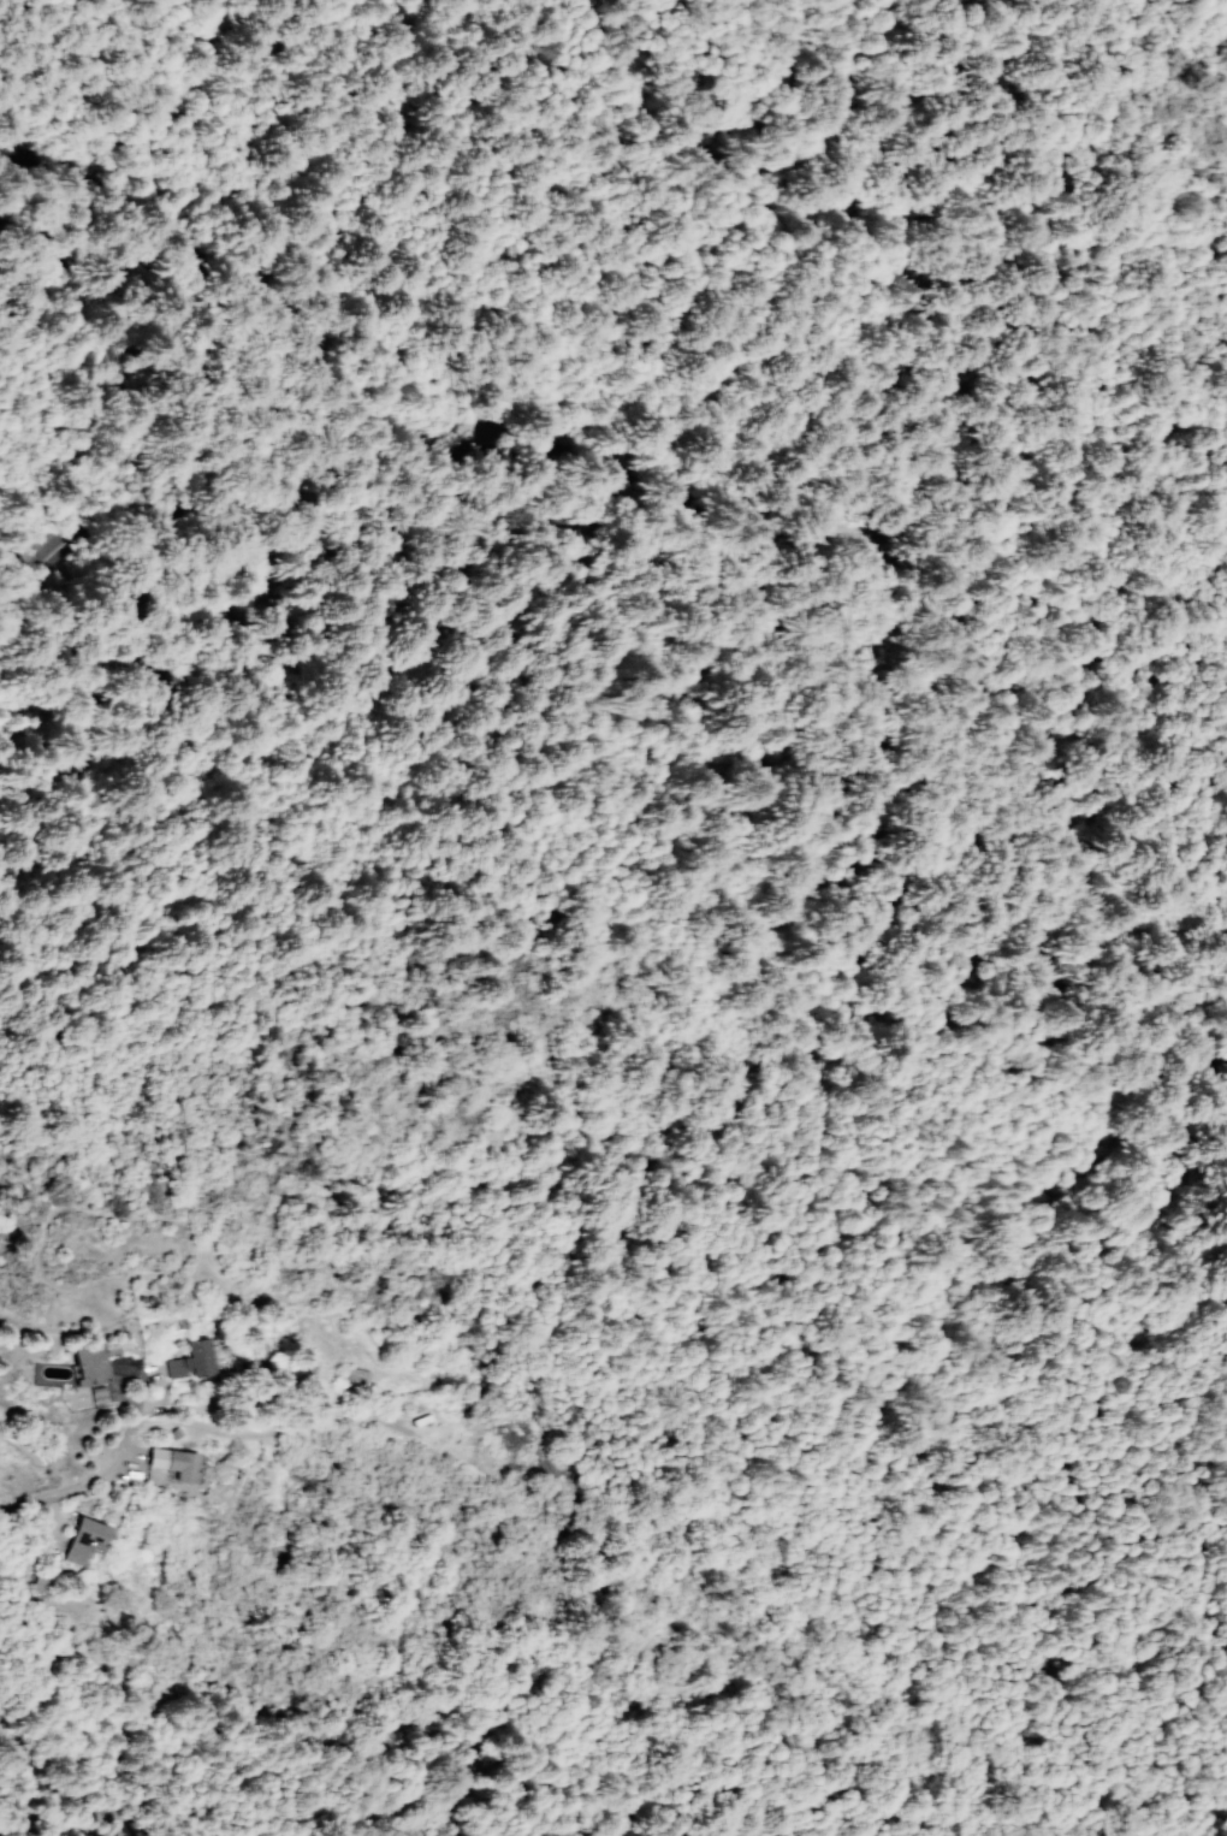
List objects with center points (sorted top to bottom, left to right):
road: (5, 186)
road: (136, 428)
road: (716, 502)
building: (189, 1361)
building: (88, 1363)
road: (119, 1372)
road: (150, 1372)
road: (148, 1378)
building: (354, 1379)
building: (420, 1417)
road: (283, 1431)
road: (124, 1459)
building: (173, 1463)
road: (78, 1483)
road: (51, 1522)
building: (84, 1540)
road: (67, 1785)
road: (13, 1830)

